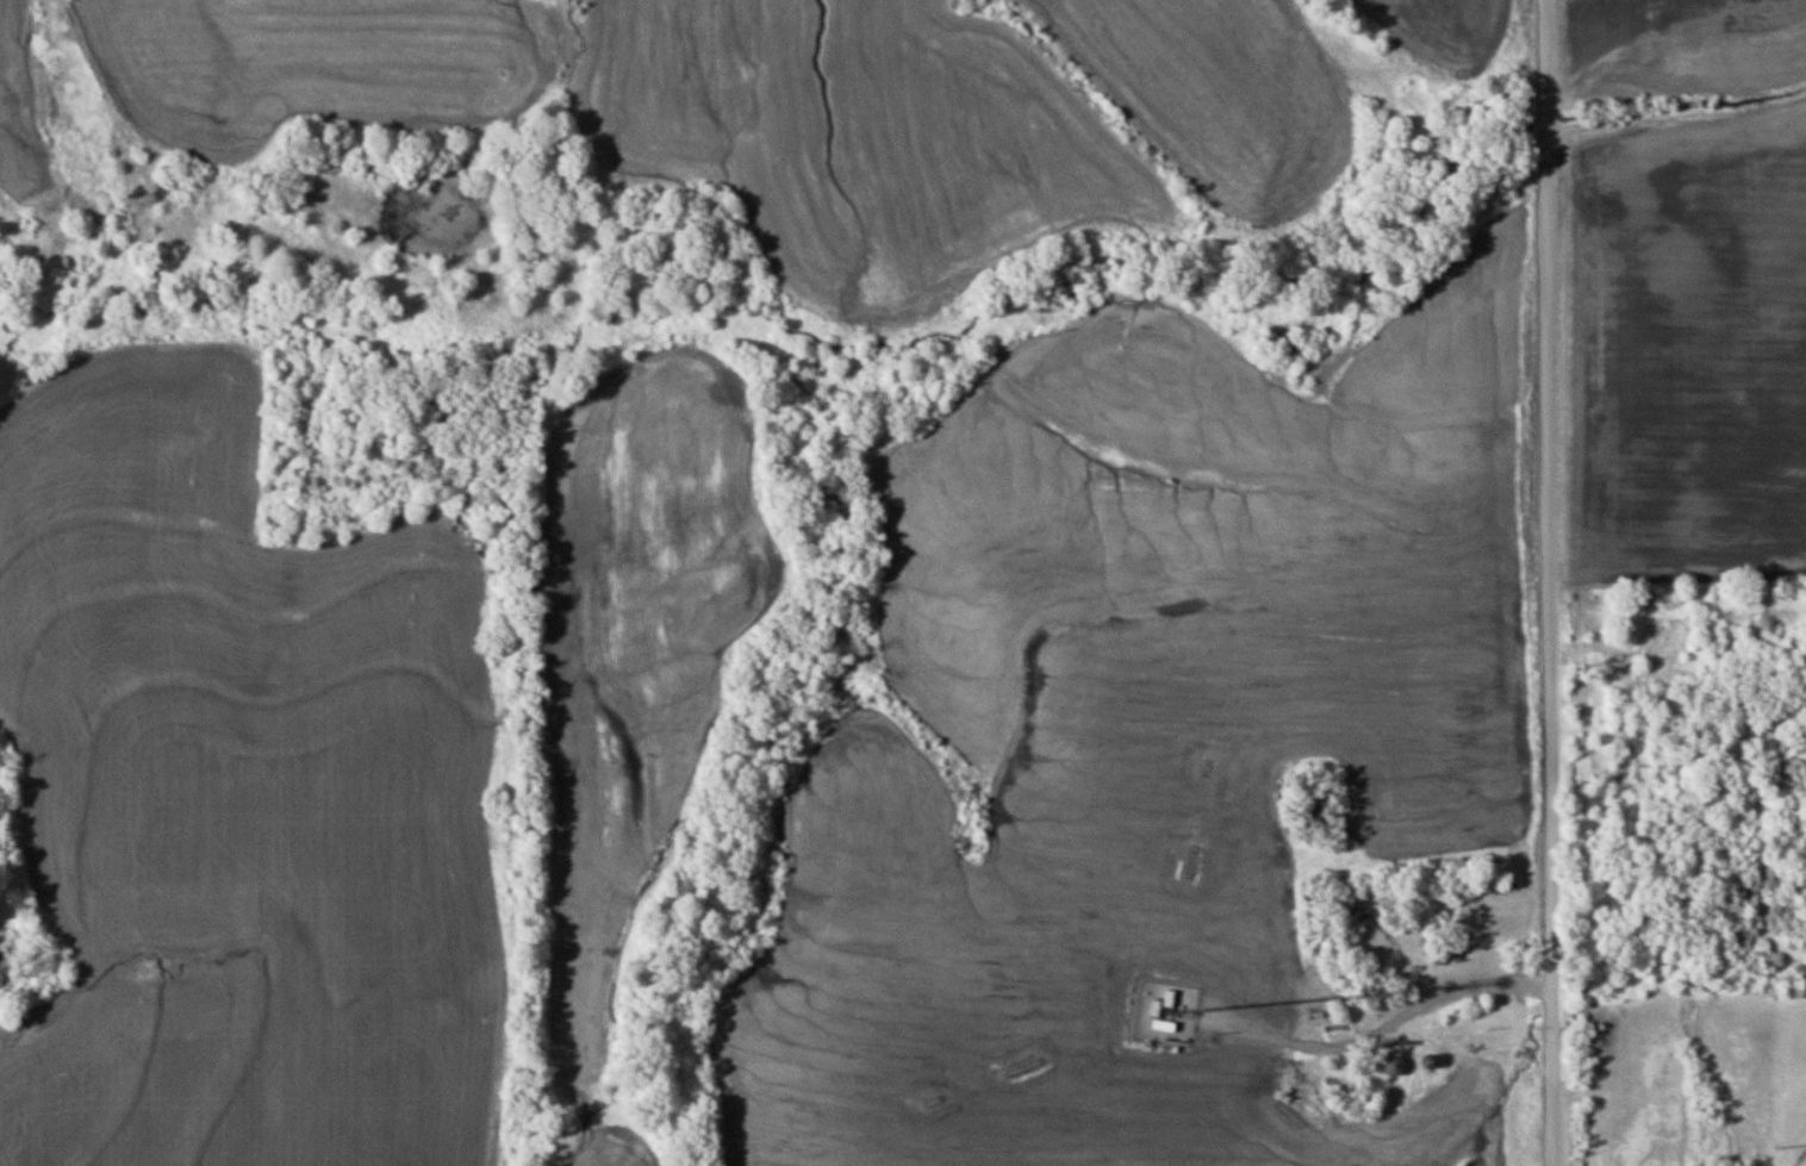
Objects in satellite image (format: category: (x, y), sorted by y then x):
road: (1546, 582)
road: (1382, 1027)
park: (1801, 1158)

